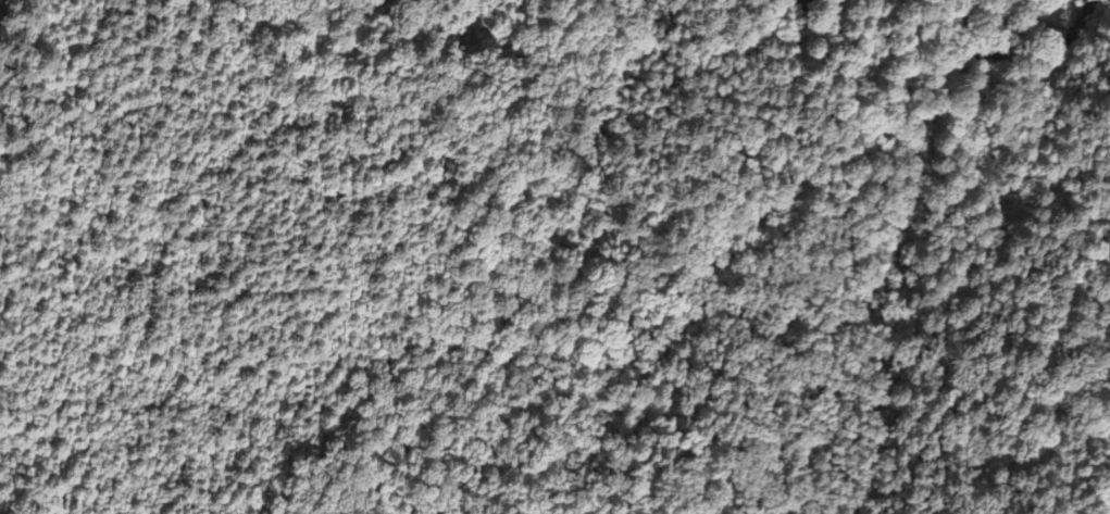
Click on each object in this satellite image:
road: (811, 2)
road: (1025, 60)

